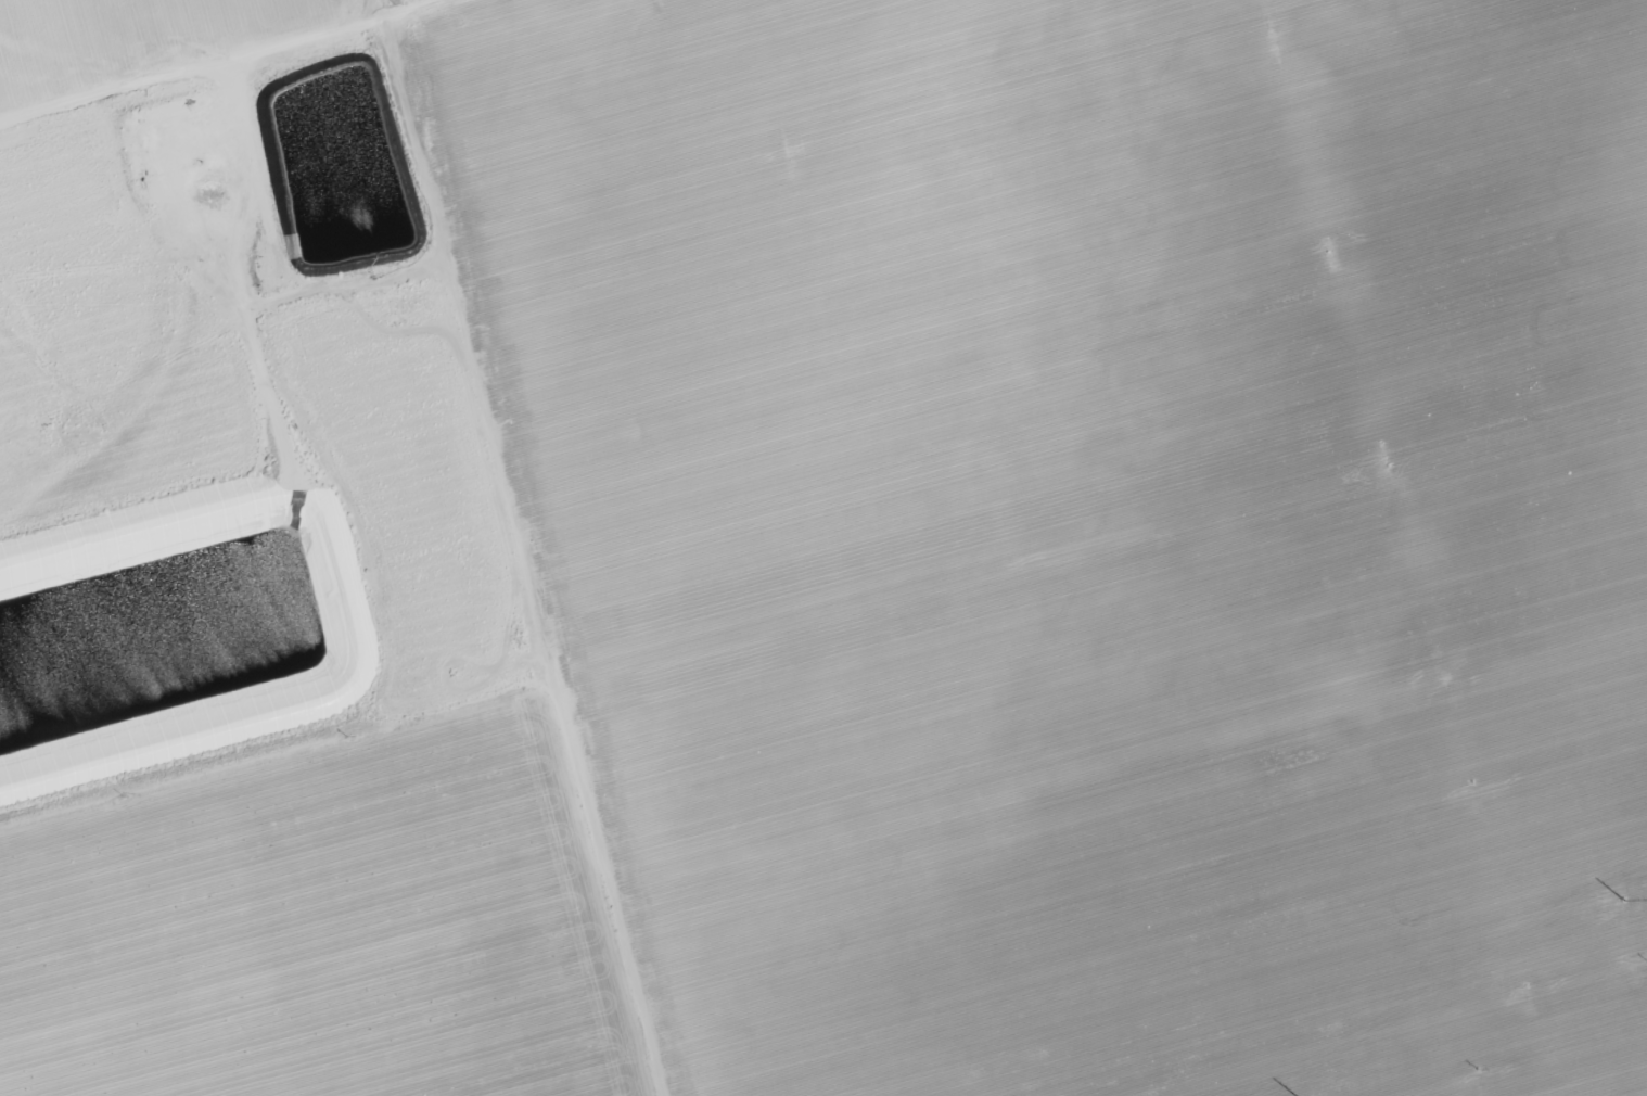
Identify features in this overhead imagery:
power tower: (1623, 901)
power tower: (1478, 1069)

